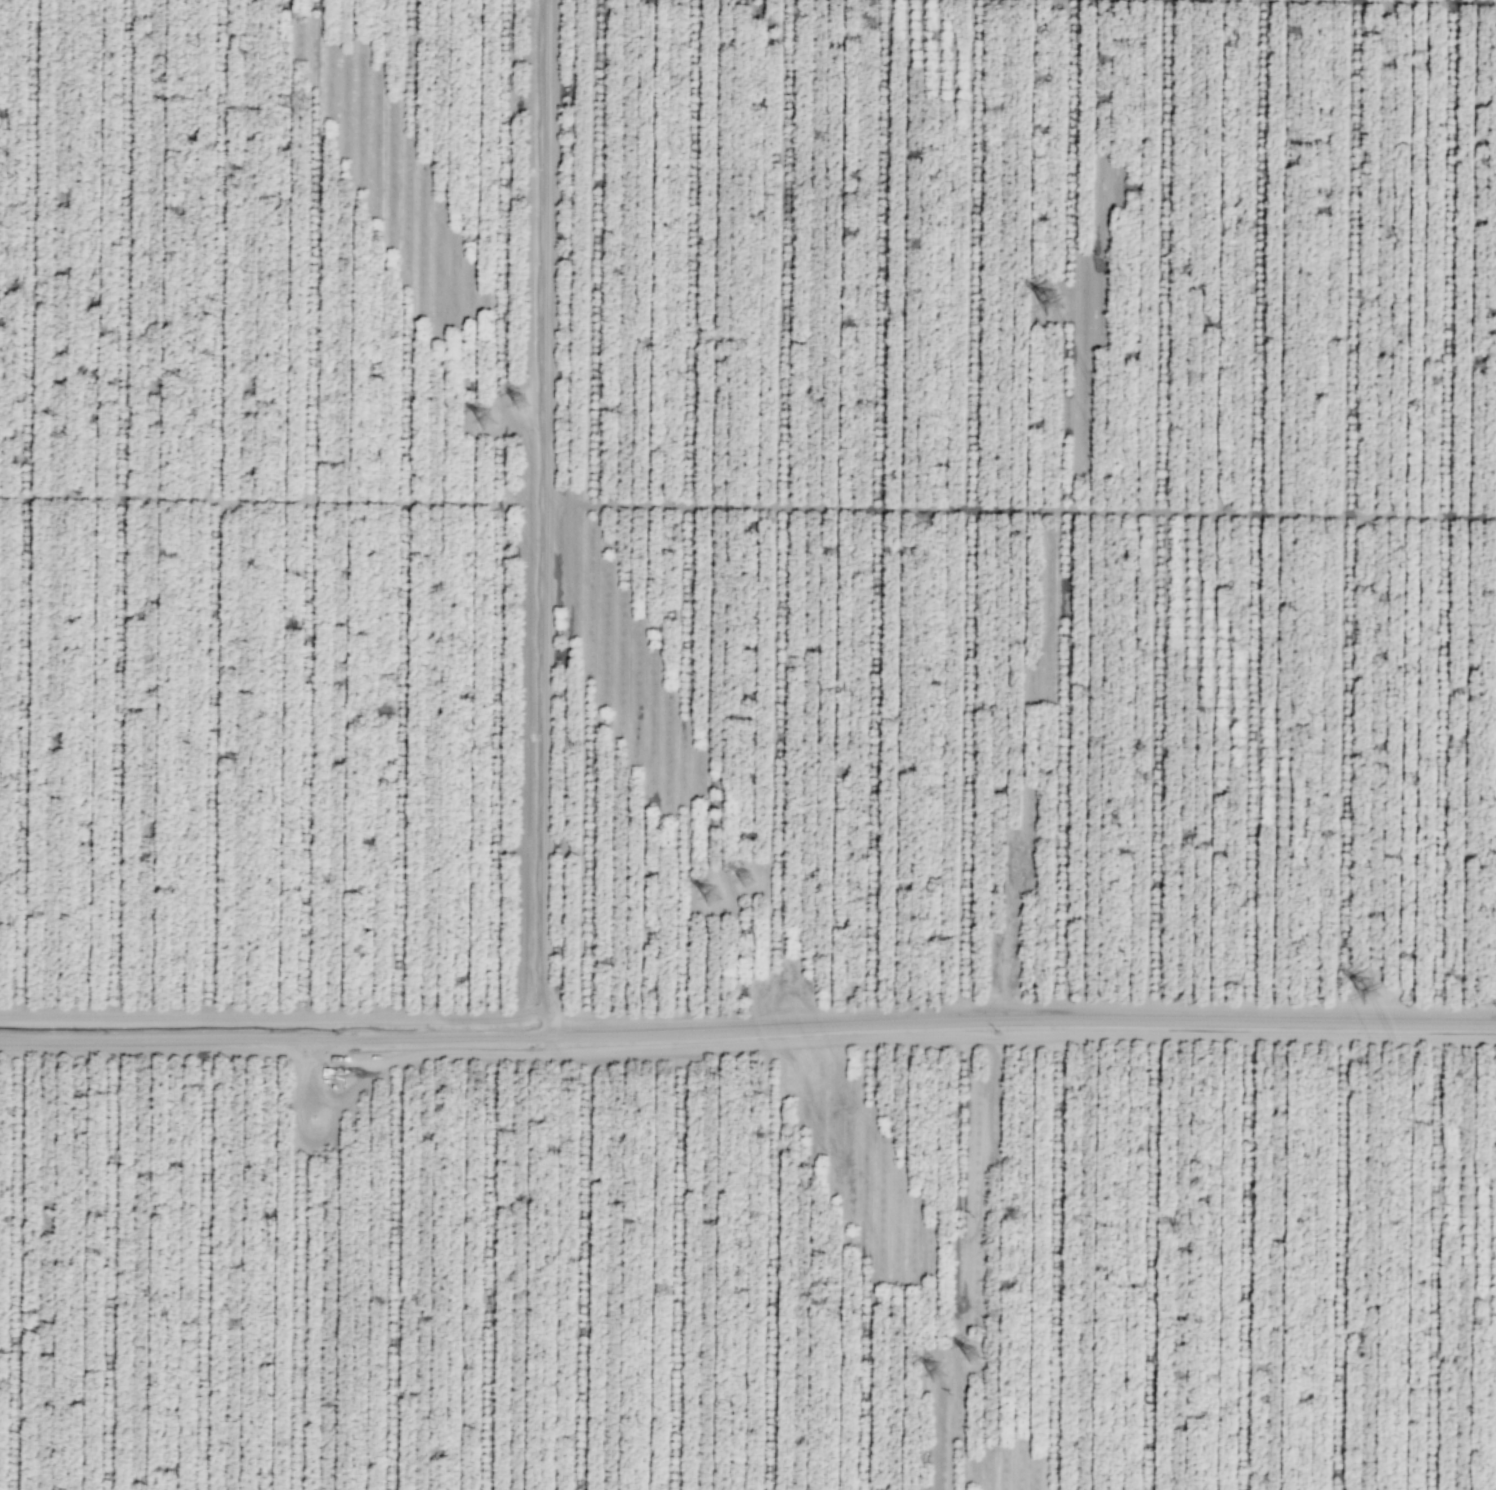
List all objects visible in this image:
road: (1477, 0)
road: (1076, 255)
power tower: (1056, 302)
power tower: (520, 403)
power tower: (484, 418)
road: (505, 454)
road: (263, 498)
road: (26, 507)
road: (216, 507)
road: (312, 507)
road: (124, 508)
road: (408, 508)
road: (1019, 509)
road: (1449, 511)
road: (527, 512)
road: (542, 517)
power tower: (743, 878)
power tower: (708, 896)
power tower: (1384, 993)
road: (498, 1007)
road: (748, 1027)
road: (1155, 1255)
road: (1250, 1255)
road: (1343, 1256)
road: (1438, 1256)
power tower: (970, 1356)
power tower: (934, 1374)

